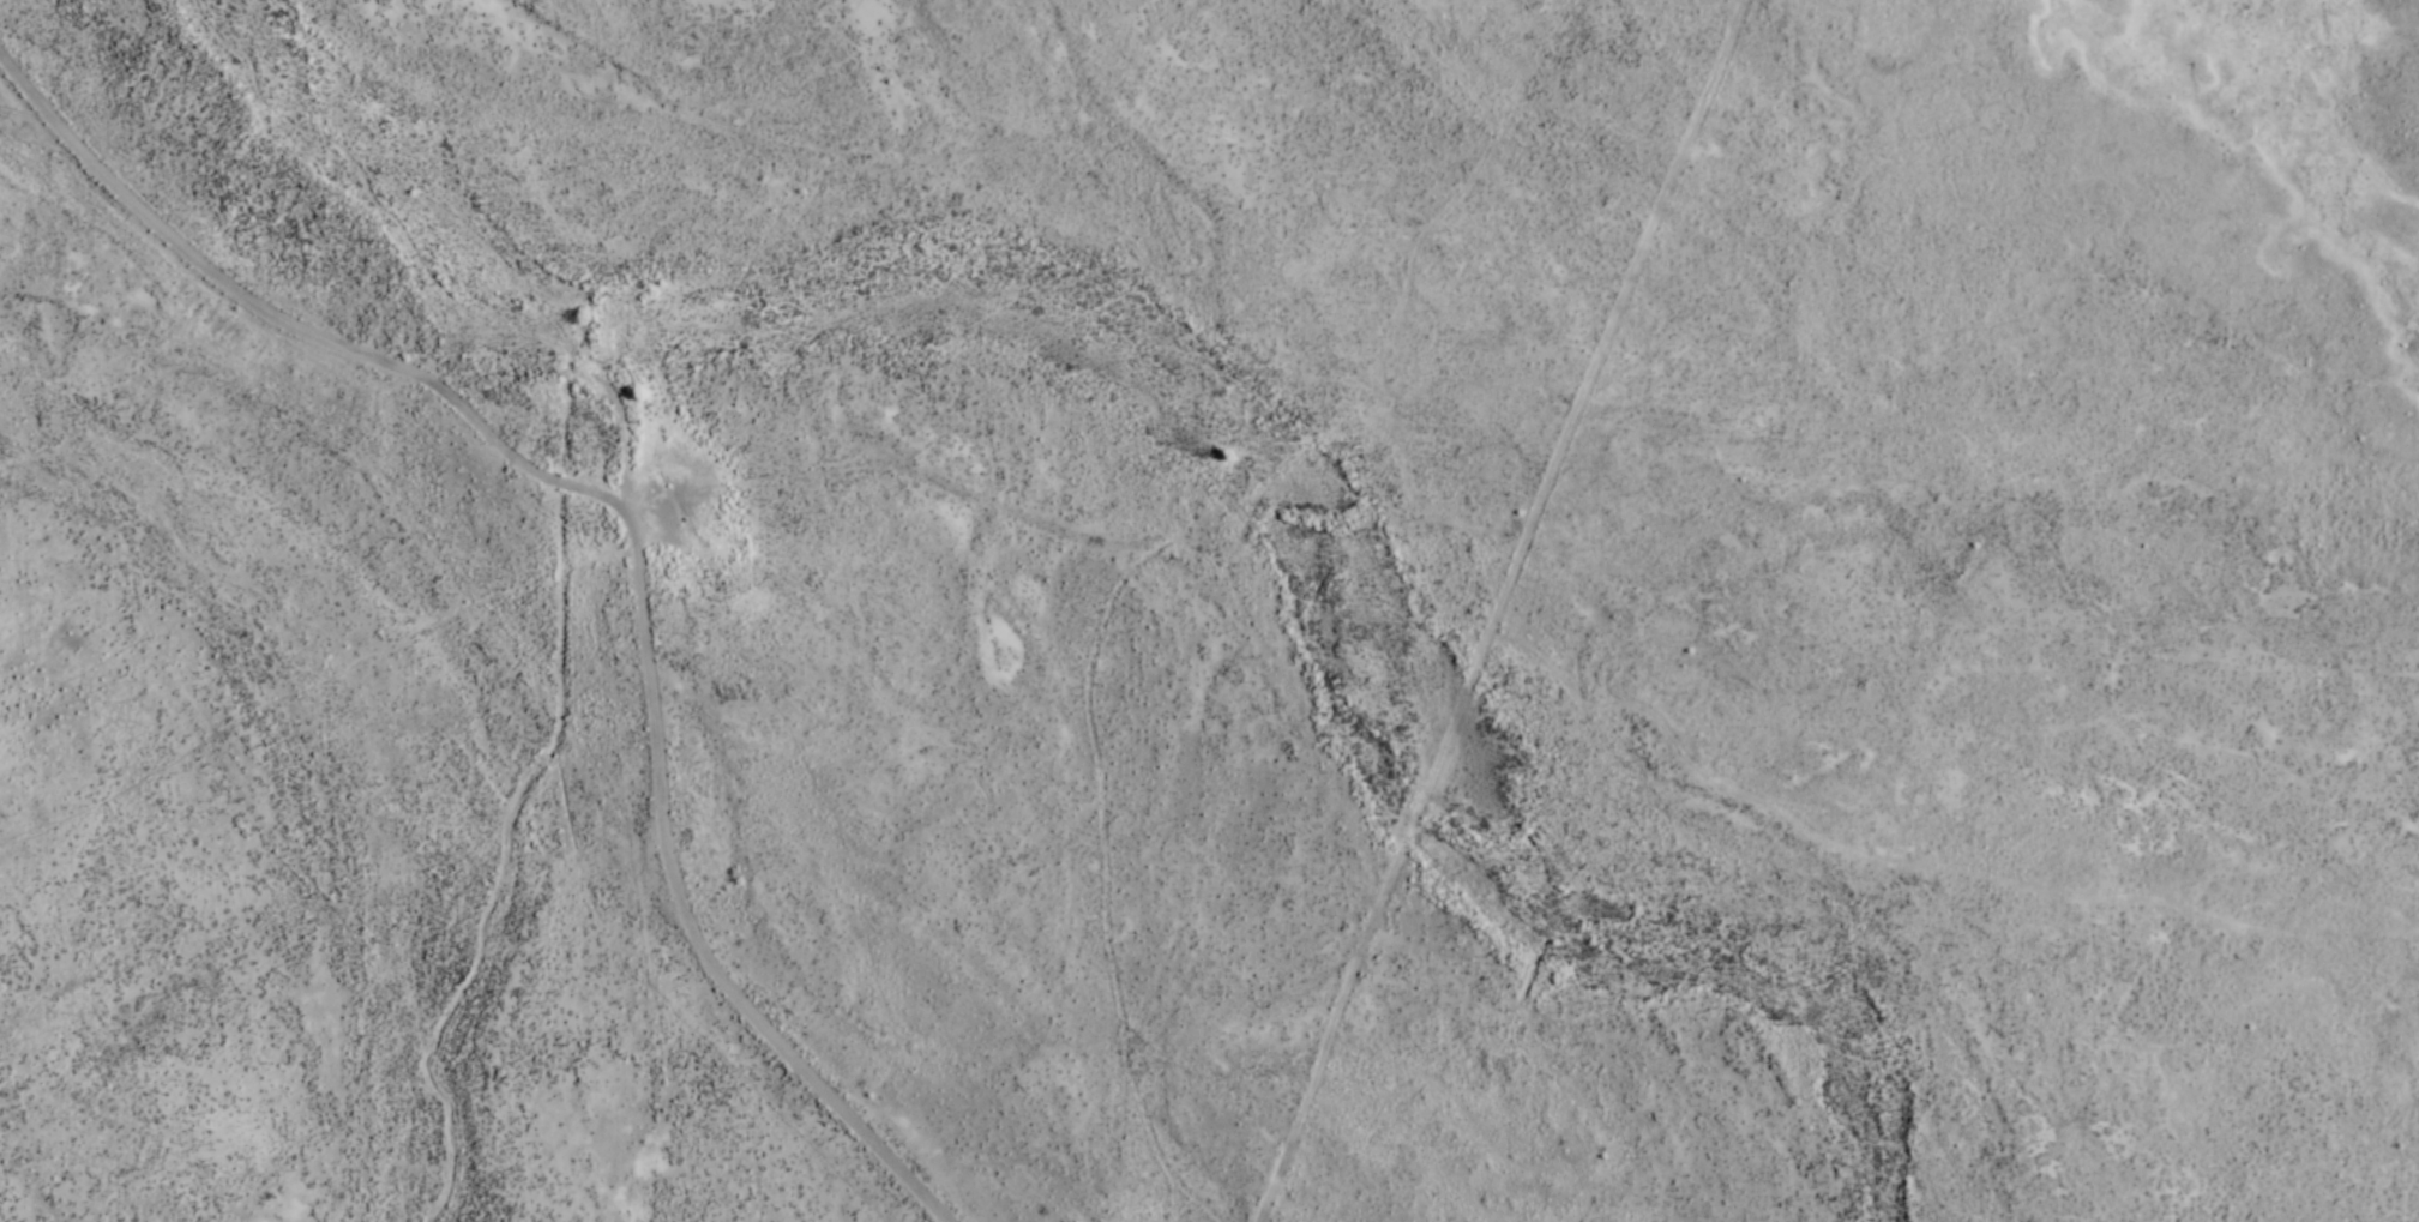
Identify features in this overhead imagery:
road: (612, 534)
road: (1472, 627)

